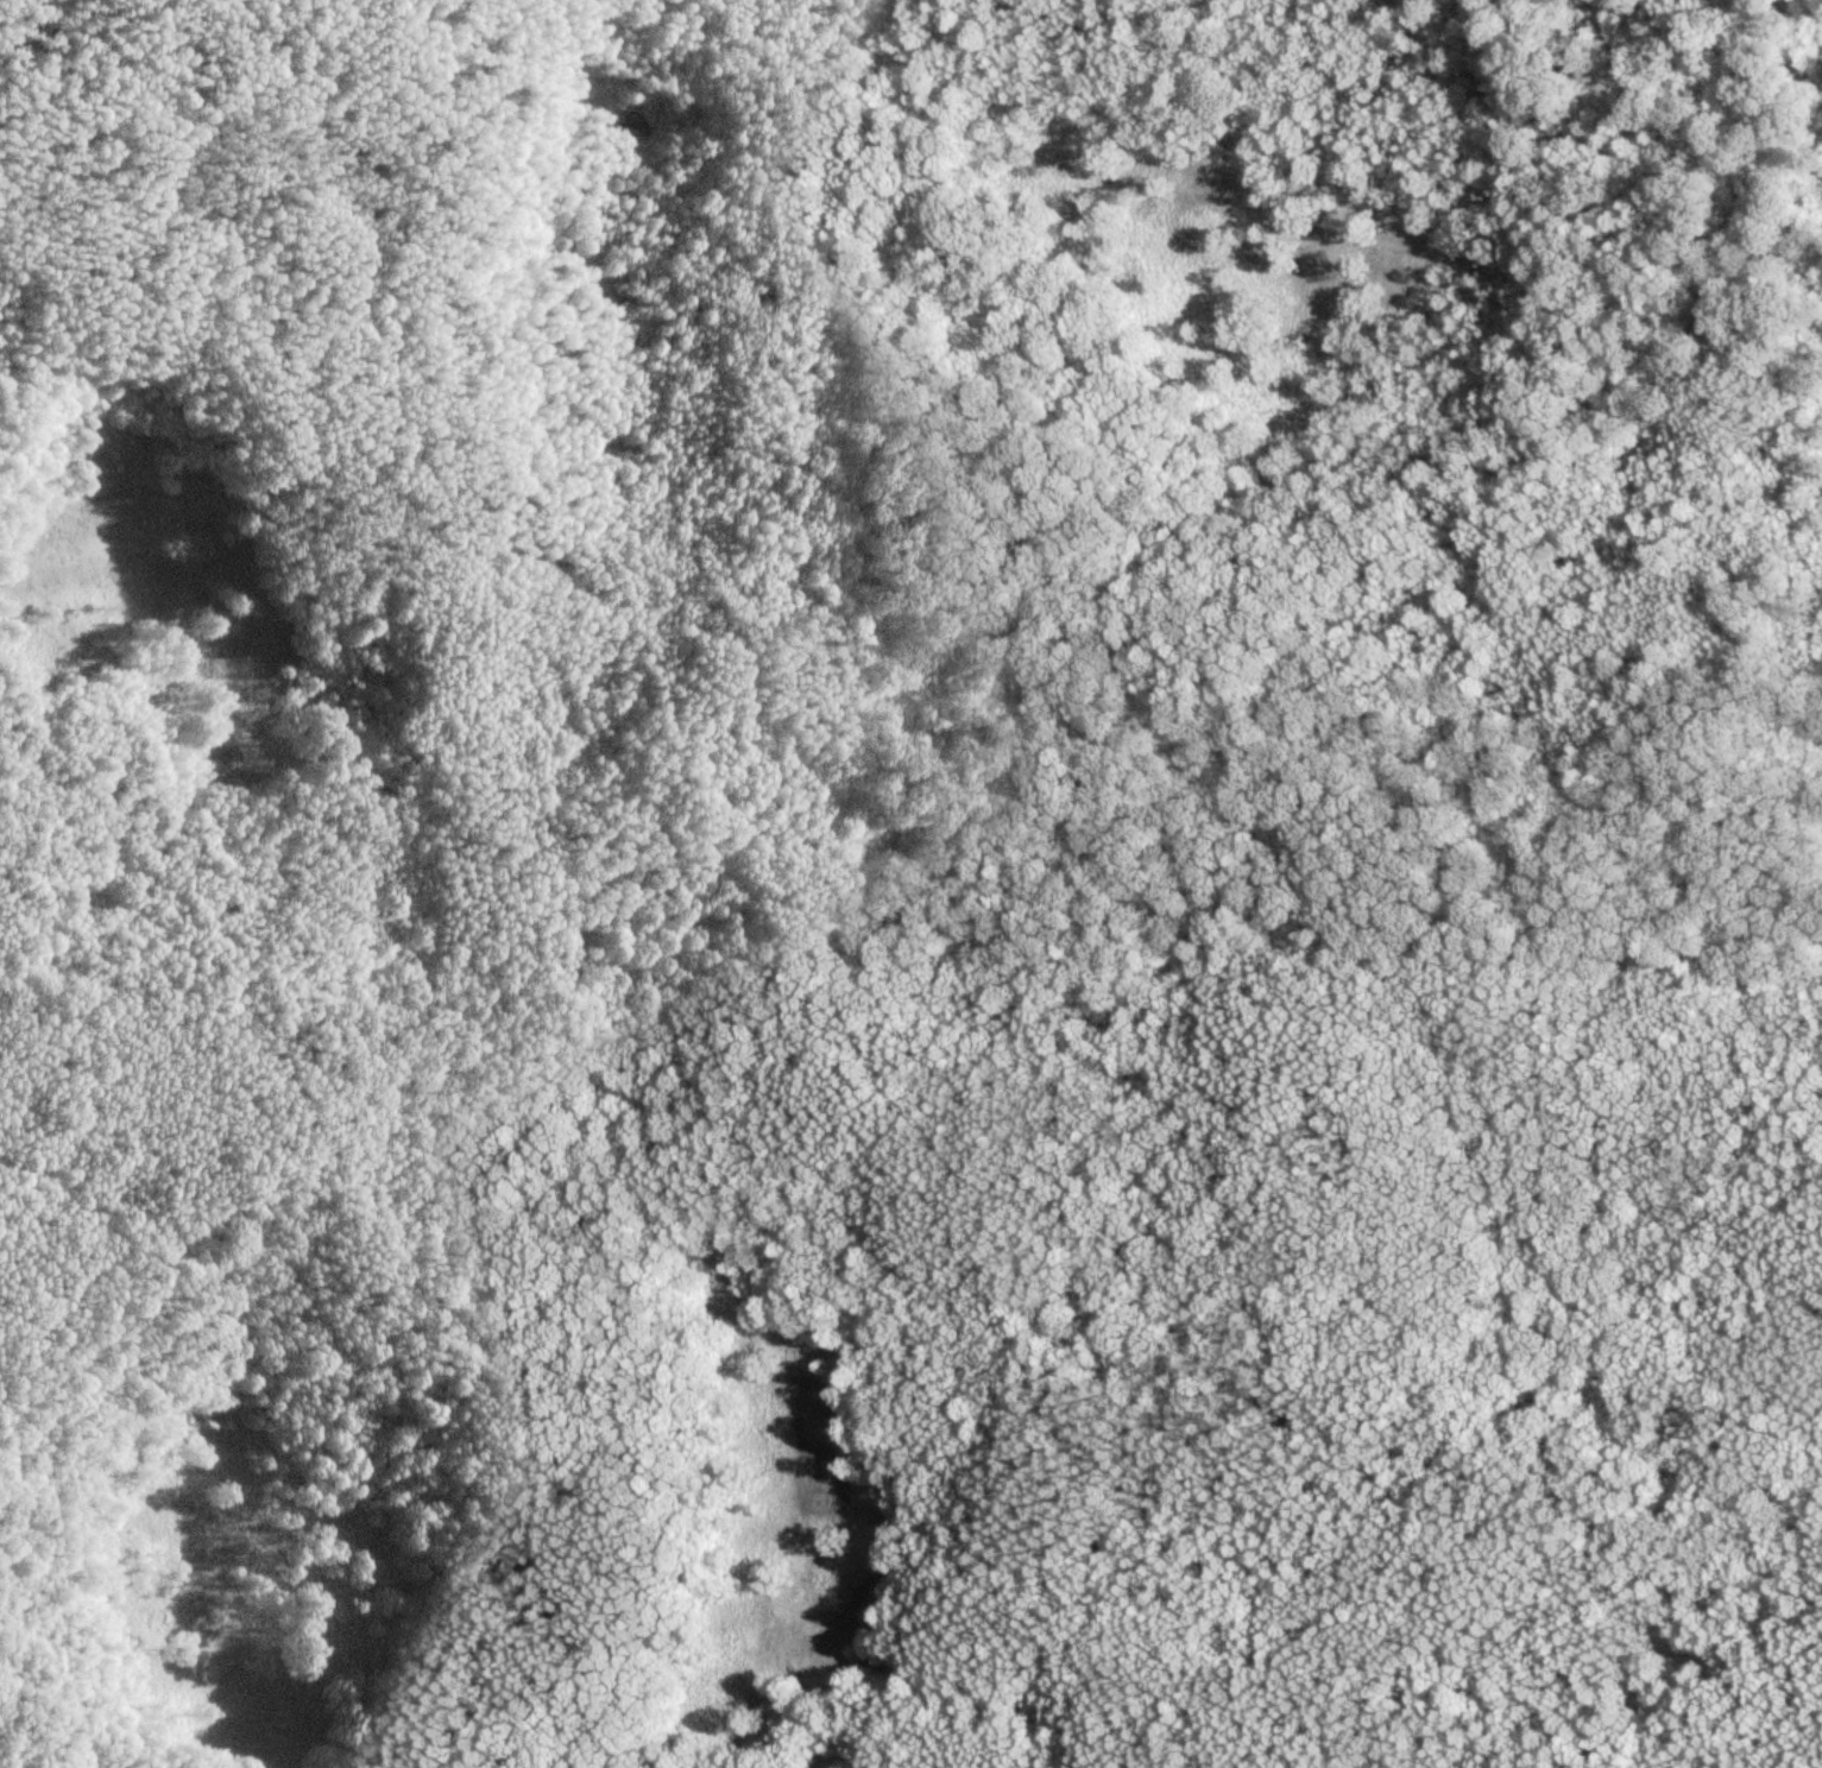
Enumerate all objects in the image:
road: (279, 368)
road: (1618, 1659)

